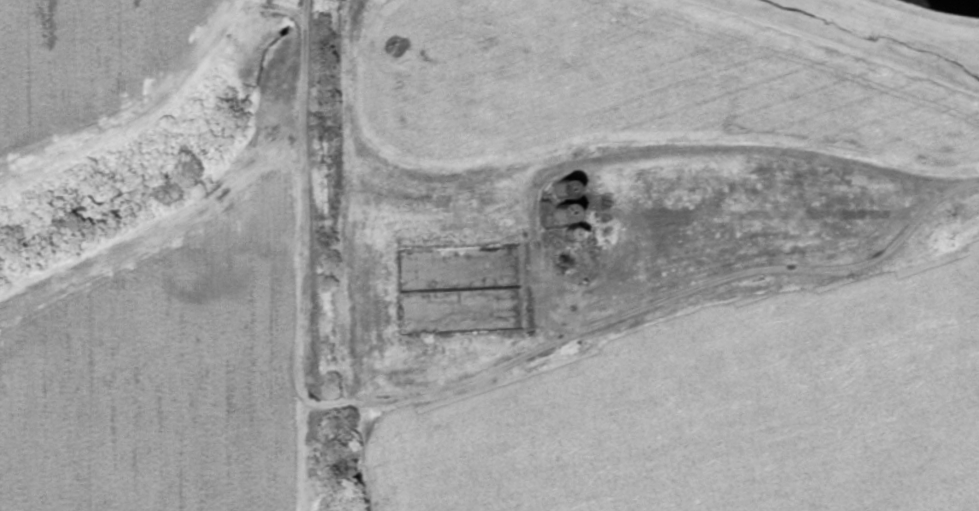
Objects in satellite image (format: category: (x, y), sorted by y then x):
road: (471, 352)

